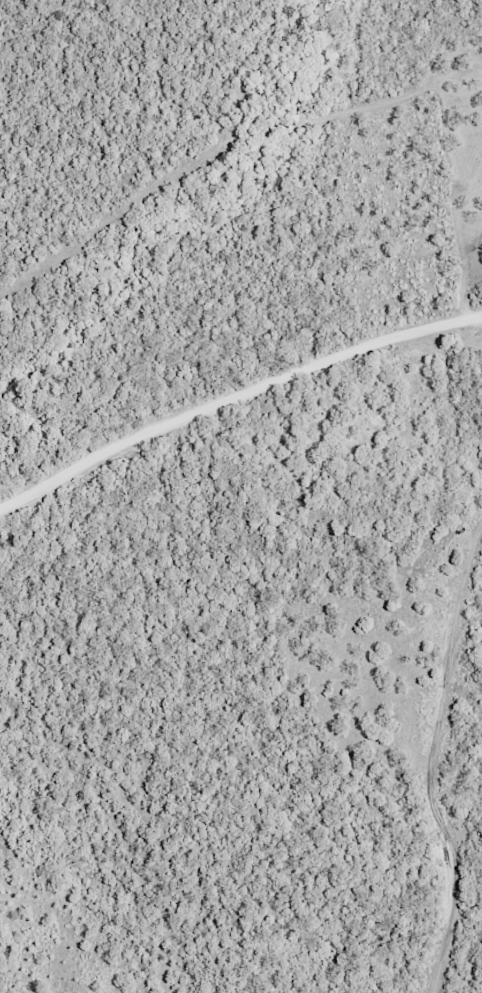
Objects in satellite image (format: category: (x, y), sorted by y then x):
road: (235, 399)
road: (420, 774)

